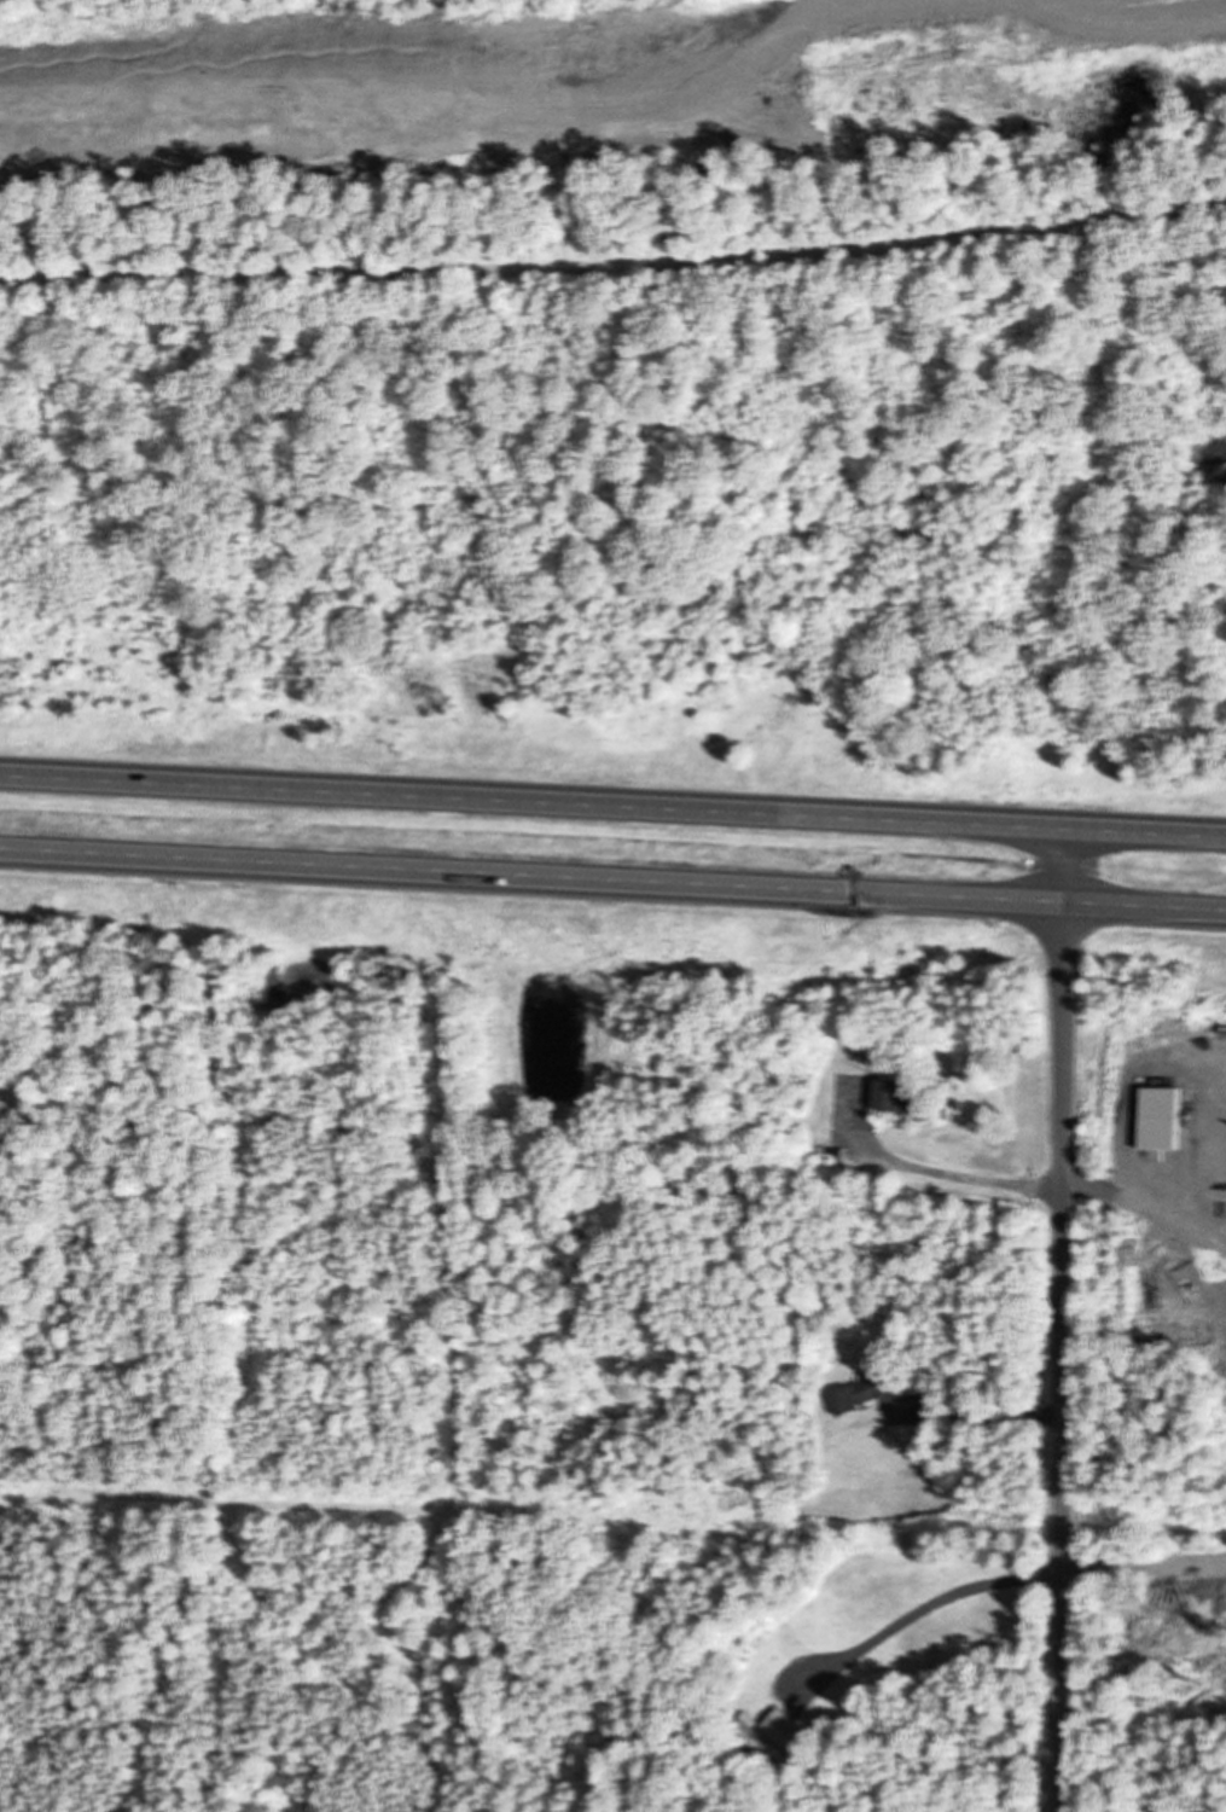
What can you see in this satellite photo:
road: (87, 41)
landfill: (580, 98)
road: (446, 99)
road: (614, 259)
road: (612, 806)
road: (612, 879)
building: (913, 1096)
building: (1145, 1136)
road: (1065, 1320)
building: (868, 1394)
building: (798, 1730)

